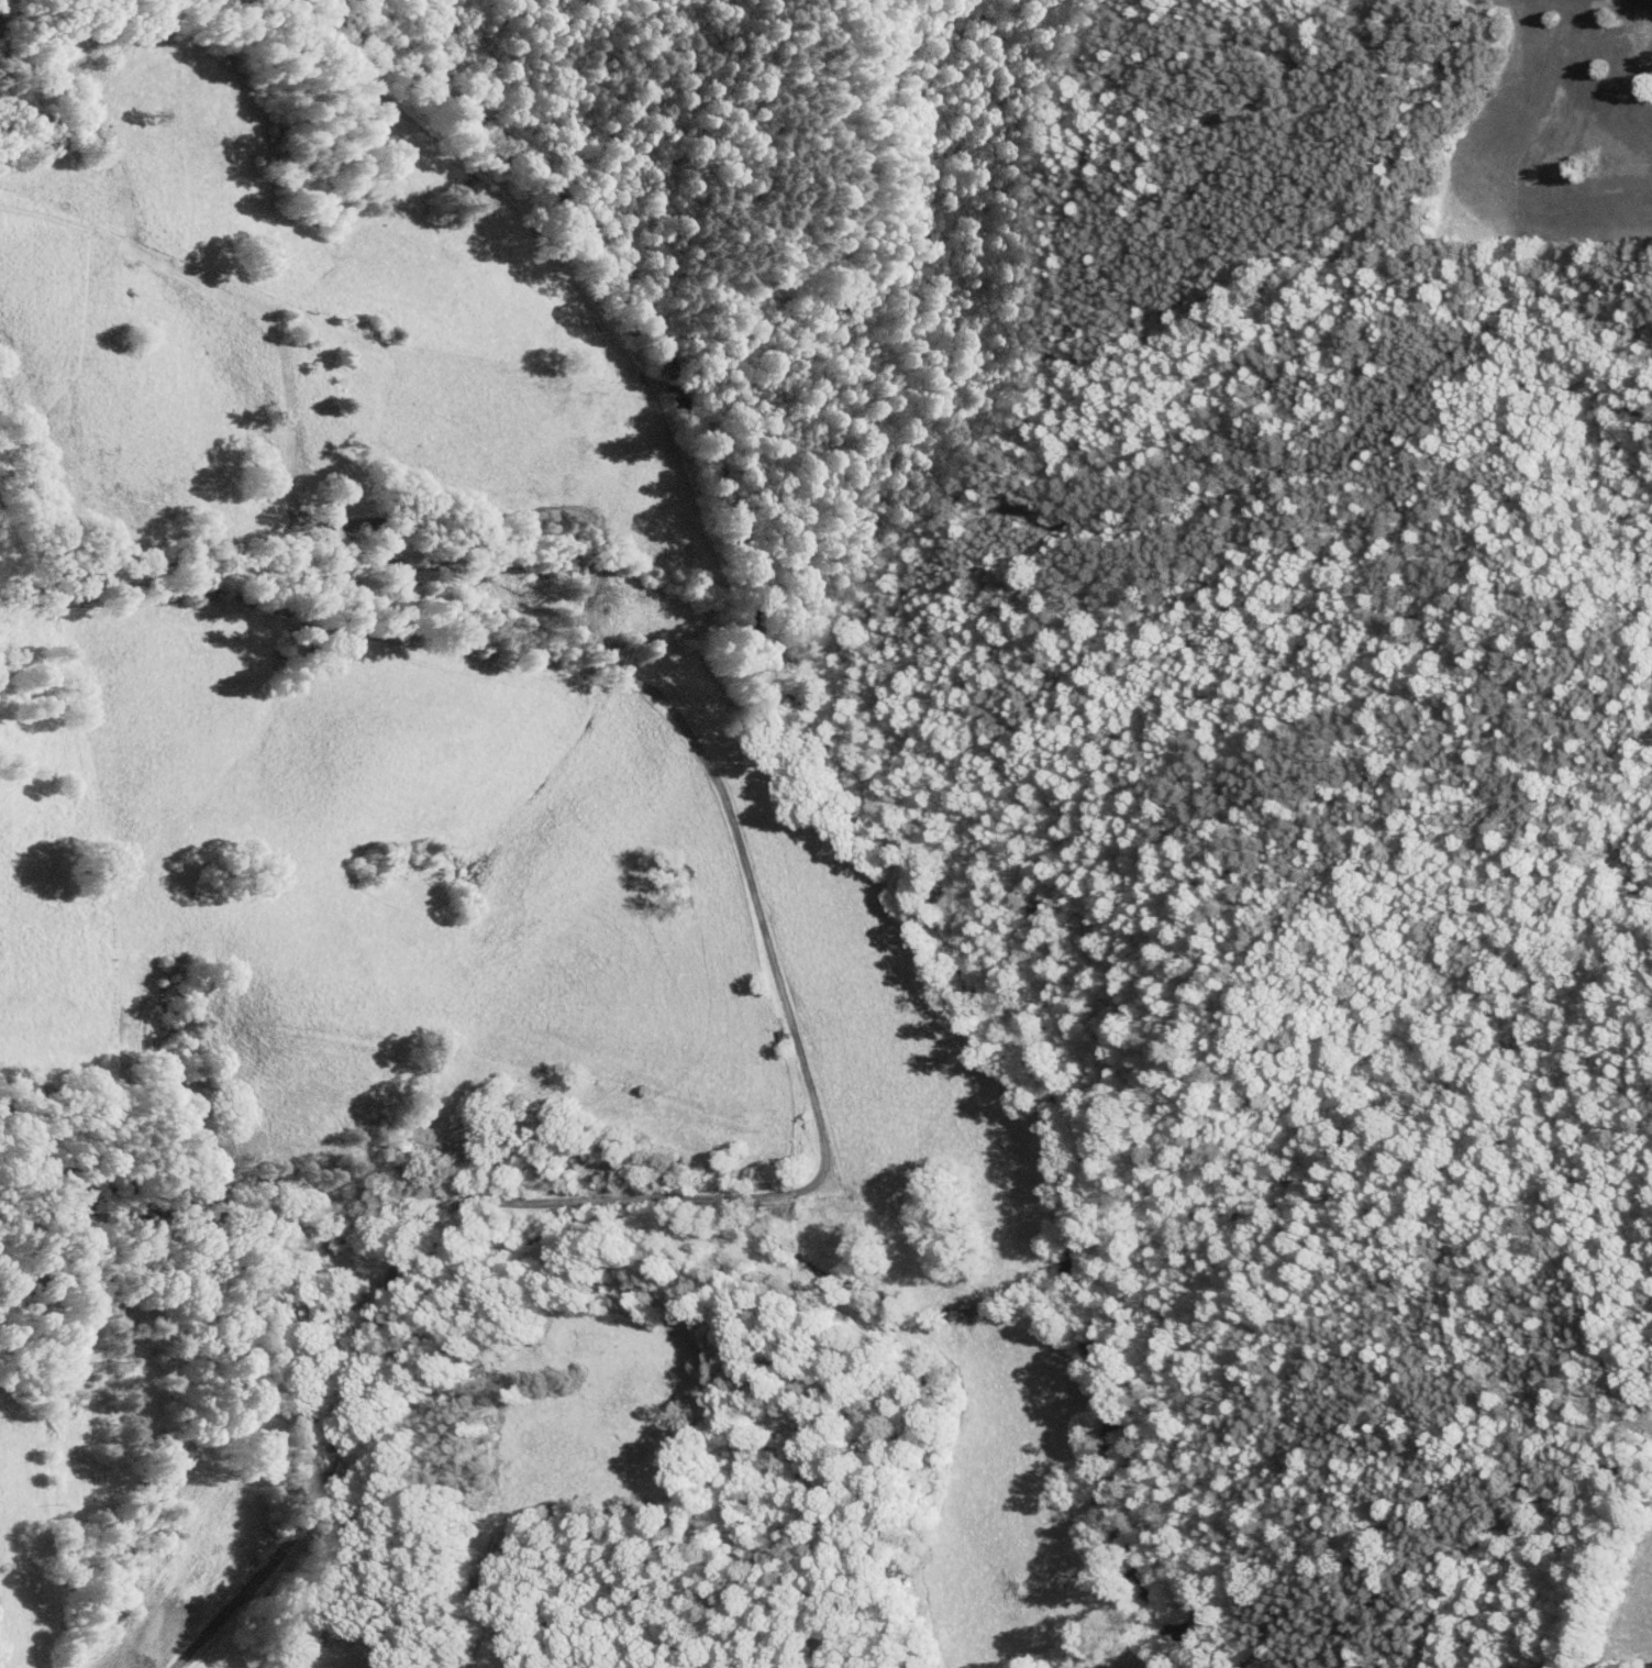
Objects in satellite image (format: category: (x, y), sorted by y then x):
road: (240, 1517)

